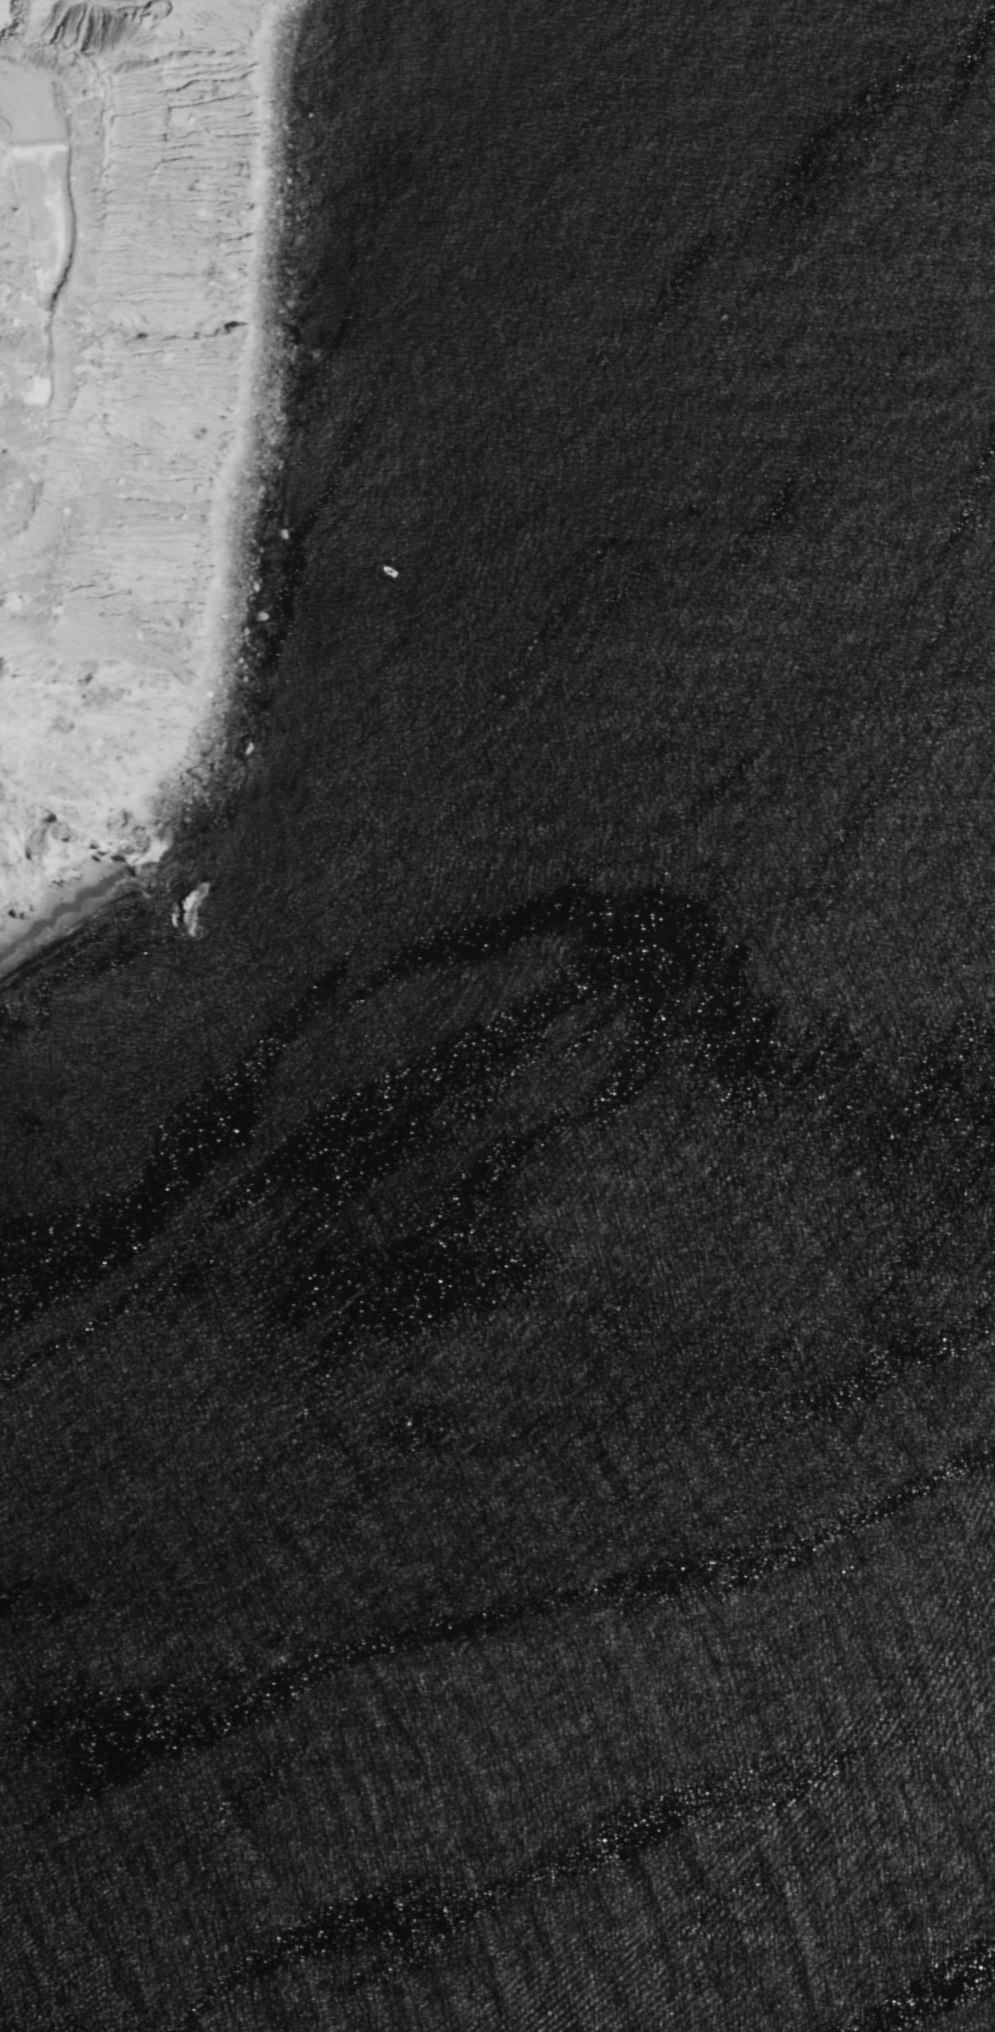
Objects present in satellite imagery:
quarry: (137, 383)

